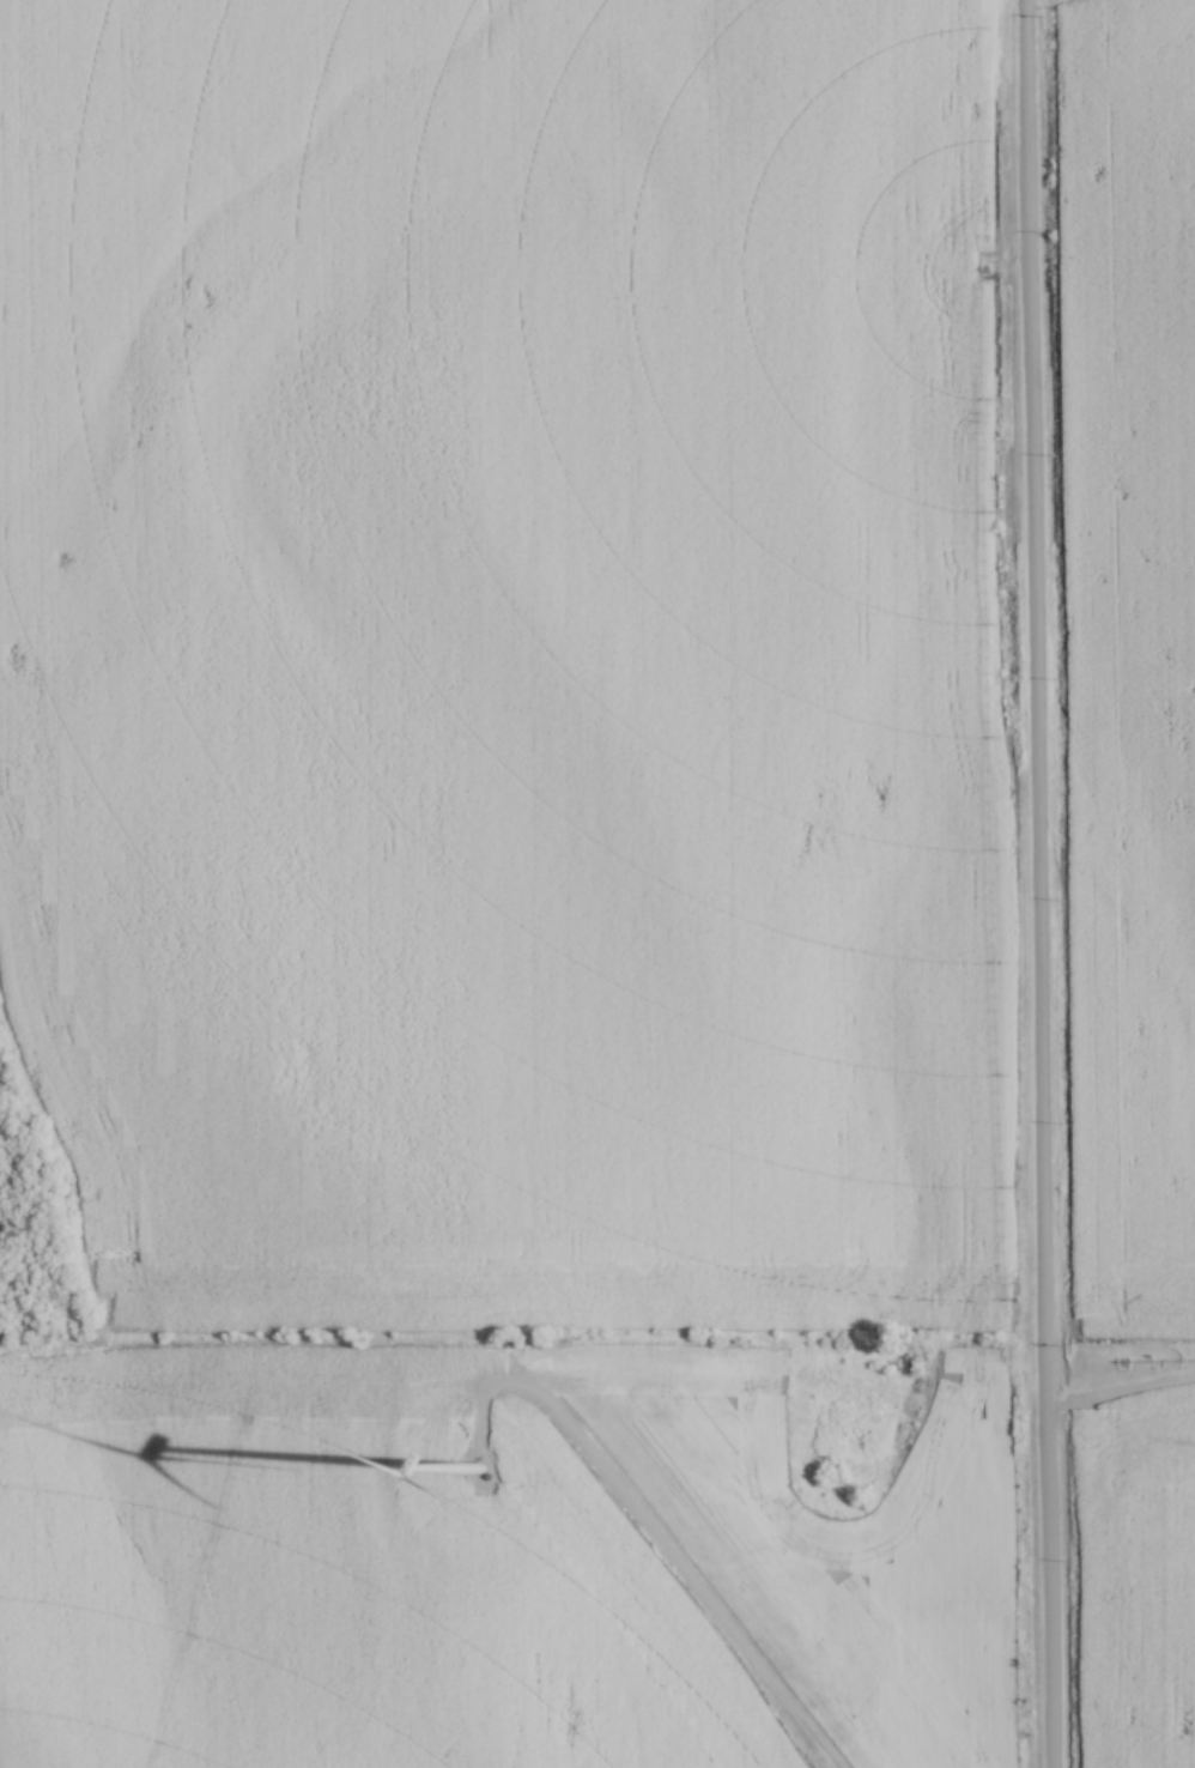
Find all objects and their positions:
road: (1033, 883)
road: (1117, 1393)
wind turbine: (480, 1466)
road: (653, 1538)

